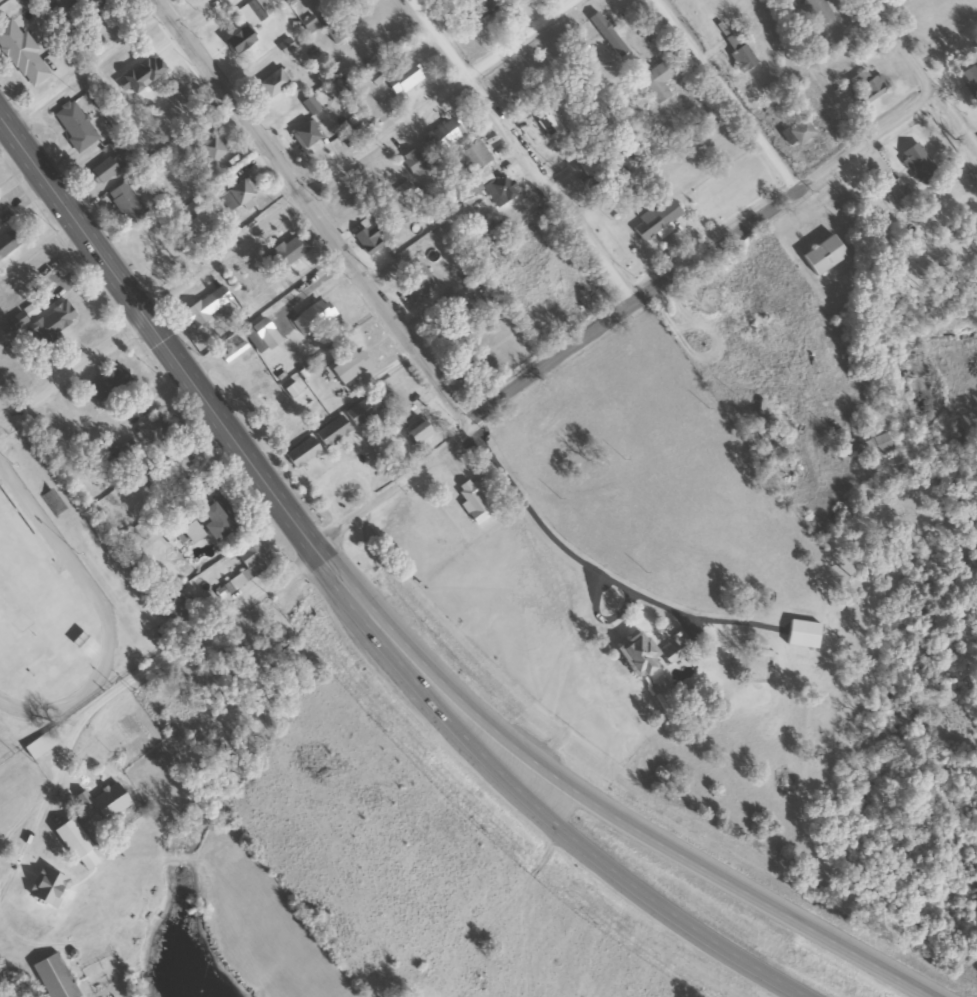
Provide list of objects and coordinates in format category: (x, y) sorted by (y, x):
building: (907, 0)
building: (94, 5)
road: (157, 6)
building: (477, 9)
building: (254, 11)
building: (816, 11)
road: (204, 17)
building: (308, 24)
building: (332, 32)
building: (238, 40)
building: (285, 46)
building: (738, 53)
building: (22, 55)
road: (86, 70)
building: (140, 75)
building: (970, 76)
building: (402, 79)
road: (923, 79)
building: (655, 81)
building: (272, 83)
building: (869, 88)
road: (729, 97)
building: (181, 111)
building: (348, 112)
building: (547, 122)
building: (73, 126)
building: (304, 135)
building: (443, 135)
building: (210, 149)
road: (524, 152)
building: (474, 155)
building: (915, 161)
building: (412, 162)
building: (585, 166)
building: (103, 169)
building: (895, 188)
building: (487, 190)
building: (238, 195)
building: (125, 203)
building: (341, 203)
road: (788, 203)
road: (287, 211)
road: (317, 217)
building: (656, 218)
building: (196, 225)
building: (367, 235)
building: (6, 242)
building: (155, 243)
building: (820, 254)
building: (416, 283)
building: (205, 306)
building: (312, 317)
building: (49, 324)
building: (453, 333)
building: (265, 334)
building: (346, 367)
building: (107, 384)
building: (361, 410)
road: (3, 421)
road: (221, 422)
building: (151, 431)
building: (331, 431)
building: (415, 431)
building: (870, 448)
building: (301, 453)
building: (178, 460)
building: (469, 492)
building: (51, 502)
building: (215, 518)
building: (188, 532)
road: (326, 555)
building: (249, 562)
building: (172, 609)
building: (800, 633)
building: (634, 653)
building: (668, 653)
building: (41, 743)
building: (101, 794)
building: (70, 838)
road: (699, 859)
road: (617, 874)
building: (53, 977)
river: (3, 994)

